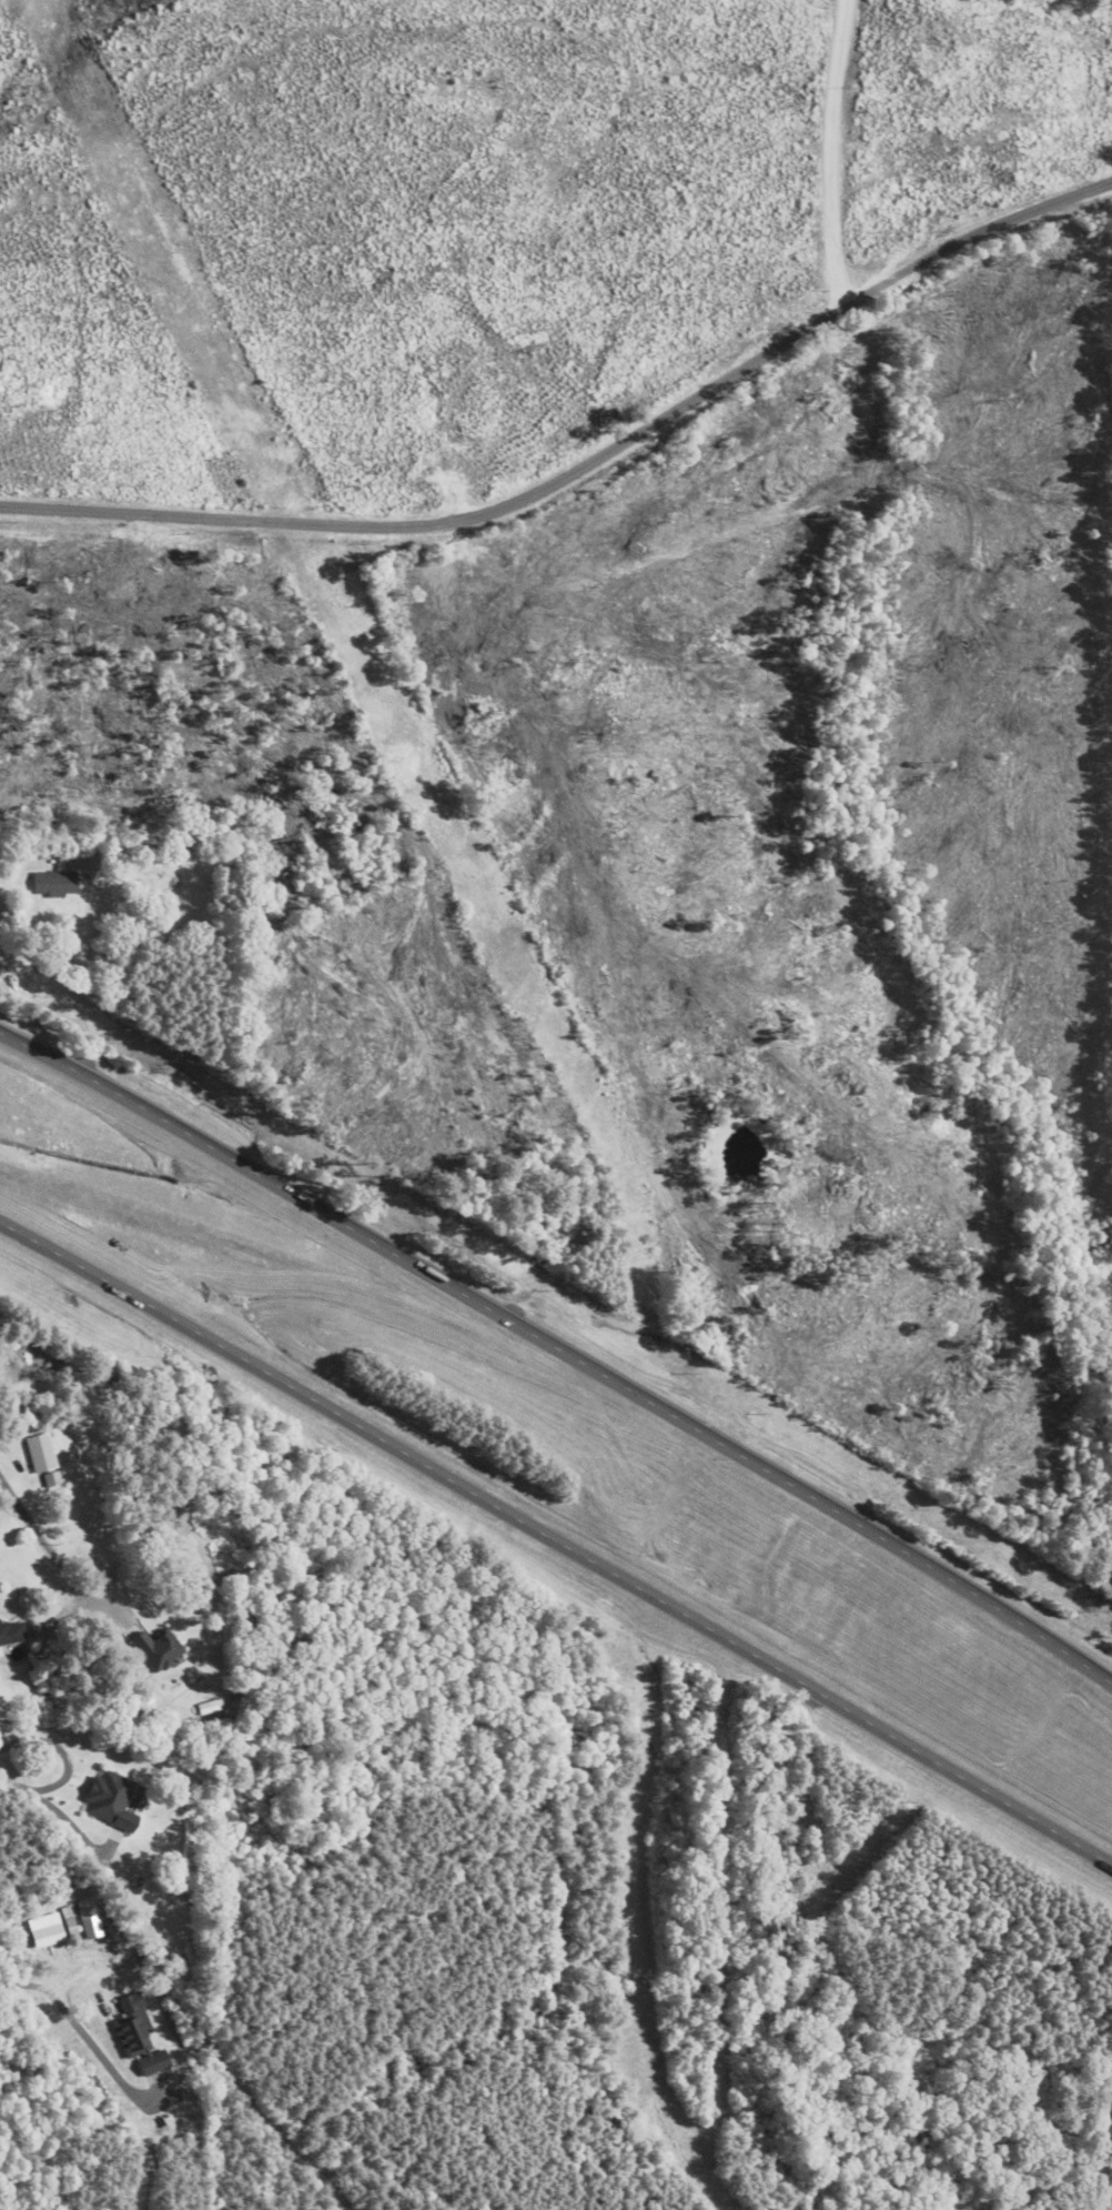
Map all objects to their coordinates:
road: (842, 153)
road: (586, 465)
building: (55, 884)
road: (80, 974)
road: (142, 1109)
road: (244, 1362)
road: (699, 1432)
road: (54, 1534)
building: (12, 1633)
building: (159, 1648)
road: (800, 1685)
building: (112, 1801)
road: (51, 1810)

